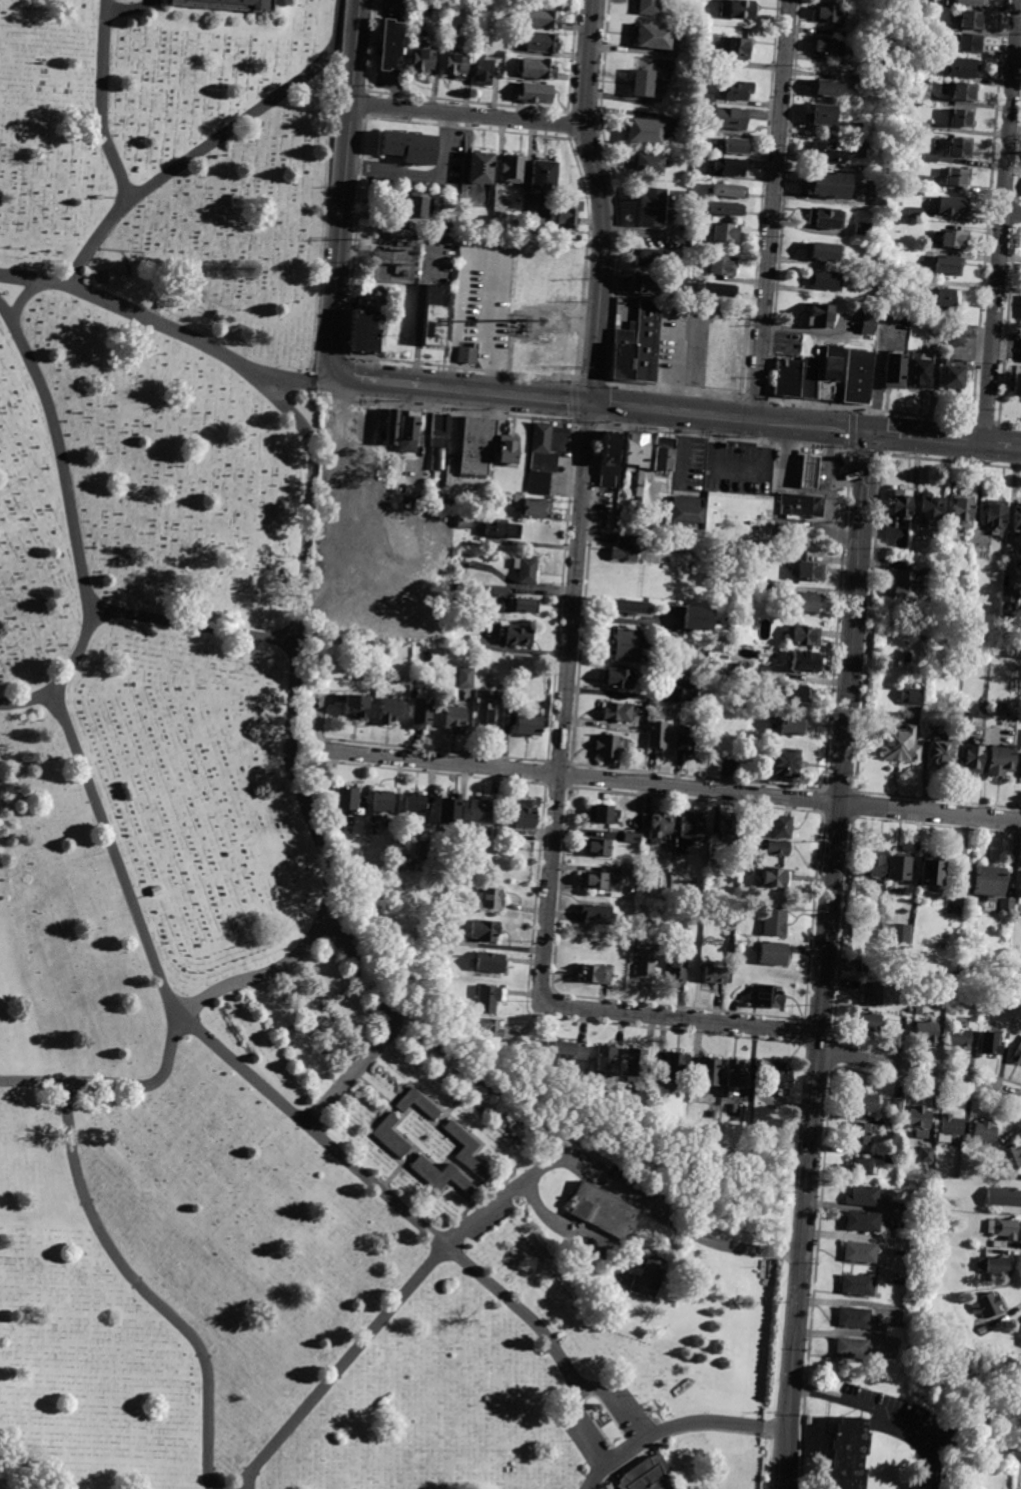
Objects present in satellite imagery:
building: (918, 1)
building: (972, 2)
building: (227, 6)
building: (648, 7)
building: (739, 9)
building: (829, 13)
building: (892, 15)
building: (541, 18)
building: (972, 20)
road: (334, 28)
building: (891, 35)
building: (654, 37)
building: (541, 42)
building: (971, 43)
building: (390, 45)
building: (827, 47)
building: (480, 48)
building: (737, 48)
building: (706, 57)
building: (422, 61)
building: (456, 65)
building: (887, 65)
building: (964, 68)
building: (537, 69)
building: (911, 70)
building: (483, 72)
building: (932, 73)
building: (862, 82)
building: (642, 83)
building: (825, 88)
building: (737, 90)
building: (965, 92)
building: (535, 93)
building: (910, 94)
building: (704, 98)
road: (467, 114)
building: (822, 115)
building: (730, 119)
building: (963, 119)
building: (926, 126)
building: (854, 129)
building: (645, 132)
road: (226, 136)
building: (734, 147)
building: (410, 148)
building: (857, 148)
building: (960, 148)
building: (825, 154)
building: (929, 158)
building: (650, 163)
building: (728, 167)
building: (481, 169)
building: (513, 169)
road: (423, 176)
building: (543, 177)
building: (957, 178)
building: (923, 181)
road: (126, 182)
building: (827, 185)
road: (344, 189)
building: (728, 192)
building: (878, 193)
road: (603, 199)
building: (417, 205)
building: (651, 207)
building: (953, 207)
building: (724, 210)
road: (771, 210)
building: (914, 212)
building: (569, 213)
road: (1011, 214)
building: (825, 219)
building: (450, 221)
road: (1001, 221)
building: (500, 223)
building: (534, 225)
building: (862, 231)
building: (725, 233)
building: (700, 234)
building: (954, 240)
building: (822, 252)
power substation: (397, 256)
building: (651, 258)
building: (721, 266)
building: (948, 266)
building: (121, 278)
building: (827, 281)
building: (913, 282)
building: (646, 287)
building: (714, 291)
building: (375, 297)
building: (945, 300)
road: (420, 309)
building: (435, 316)
building: (820, 317)
building: (867, 321)
building: (363, 333)
building: (956, 334)
building: (647, 342)
building: (625, 348)
building: (1020, 354)
building: (467, 355)
building: (724, 359)
building: (894, 372)
road: (879, 373)
building: (831, 374)
building: (920, 375)
building: (857, 377)
building: (952, 378)
building: (788, 379)
road: (382, 380)
building: (809, 380)
road: (301, 383)
building: (1016, 384)
road: (506, 392)
road: (342, 395)
traffic signals: (590, 401)
road: (671, 410)
building: (368, 421)
road: (810, 426)
building: (392, 427)
building: (440, 430)
building: (408, 431)
traffic signals: (869, 433)
building: (541, 437)
road: (937, 439)
building: (478, 445)
road: (1014, 446)
building: (507, 449)
building: (638, 449)
building: (663, 454)
building: (608, 458)
building: (543, 462)
building: (809, 470)
gas station: (809, 470)
road: (864, 477)
building: (539, 483)
building: (639, 483)
building: (412, 502)
building: (901, 502)
building: (802, 505)
building: (532, 506)
building: (929, 507)
building: (963, 510)
building: (995, 514)
building: (687, 515)
building: (737, 517)
building: (1017, 517)
building: (463, 523)
road: (76, 524)
building: (501, 530)
building: (777, 530)
building: (624, 549)
building: (768, 553)
building: (676, 558)
building: (928, 569)
building: (526, 570)
building: (811, 571)
building: (906, 585)
building: (765, 587)
building: (499, 590)
building: (808, 602)
building: (1008, 604)
building: (520, 605)
building: (629, 606)
building: (697, 619)
road: (190, 622)
building: (806, 634)
building: (518, 635)
building: (346, 642)
building: (627, 644)
building: (906, 657)
building: (804, 660)
building: (745, 666)
building: (765, 671)
building: (466, 677)
building: (691, 677)
building: (616, 678)
building: (794, 693)
building: (908, 695)
building: (688, 696)
building: (355, 706)
road: (292, 709)
building: (390, 709)
building: (421, 712)
building: (485, 712)
building: (617, 712)
building: (454, 718)
building: (529, 723)
building: (792, 724)
building: (657, 734)
building: (686, 738)
building: (896, 743)
building: (608, 746)
building: (941, 754)
building: (972, 759)
building: (1001, 759)
building: (784, 761)
building: (729, 768)
road: (669, 785)
building: (346, 798)
building: (381, 800)
building: (414, 804)
building: (449, 808)
building: (480, 810)
building: (600, 813)
building: (524, 814)
building: (637, 825)
building: (660, 825)
building: (780, 826)
building: (692, 827)
building: (728, 830)
building: (632, 838)
building: (597, 847)
building: (422, 848)
building: (778, 848)
building: (873, 863)
building: (900, 866)
building: (630, 871)
building: (931, 874)
building: (775, 877)
building: (714, 879)
building: (597, 881)
building: (988, 881)
park: (273, 888)
building: (156, 891)
building: (492, 898)
building: (1006, 905)
building: (596, 913)
building: (775, 922)
building: (484, 930)
building: (904, 932)
building: (432, 937)
road: (544, 945)
building: (773, 953)
building: (644, 960)
building: (489, 962)
building: (868, 965)
building: (678, 969)
building: (594, 973)
building: (716, 976)
building: (952, 981)
building: (872, 992)
building: (769, 996)
building: (489, 999)
road: (820, 1005)
building: (1008, 1005)
building: (918, 1011)
building: (869, 1022)
building: (951, 1023)
building: (489, 1026)
road: (389, 1029)
building: (926, 1031)
building: (959, 1039)
building: (990, 1044)
building: (567, 1051)
building: (1017, 1055)
building: (606, 1060)
building: (636, 1061)
building: (675, 1065)
building: (710, 1072)
building: (780, 1076)
building: (736, 1077)
road: (258, 1083)
building: (865, 1101)
building: (423, 1105)
building: (897, 1107)
building: (733, 1108)
building: (919, 1120)
building: (894, 1125)
building: (951, 1126)
building: (860, 1133)
building: (983, 1135)
building: (395, 1137)
building: (1002, 1139)
building: (472, 1150)
building: (926, 1155)
building: (1012, 1157)
building: (892, 1159)
building: (860, 1165)
building: (446, 1176)
building: (940, 1188)
building: (863, 1195)
building: (1003, 1197)
building: (598, 1210)
road: (483, 1216)
building: (862, 1220)
road: (559, 1224)
building: (1003, 1228)
building: (1000, 1244)
building: (859, 1251)
building: (994, 1266)
building: (645, 1271)
building: (857, 1284)
road: (145, 1287)
building: (987, 1305)
building: (853, 1317)
building: (983, 1329)
building: (1020, 1332)
building: (1020, 1345)
building: (851, 1347)
road: (621, 1403)
road: (887, 1414)
road: (676, 1423)
road: (582, 1432)
road: (974, 1447)
building: (848, 1454)
road: (20, 1467)
building: (642, 1475)

